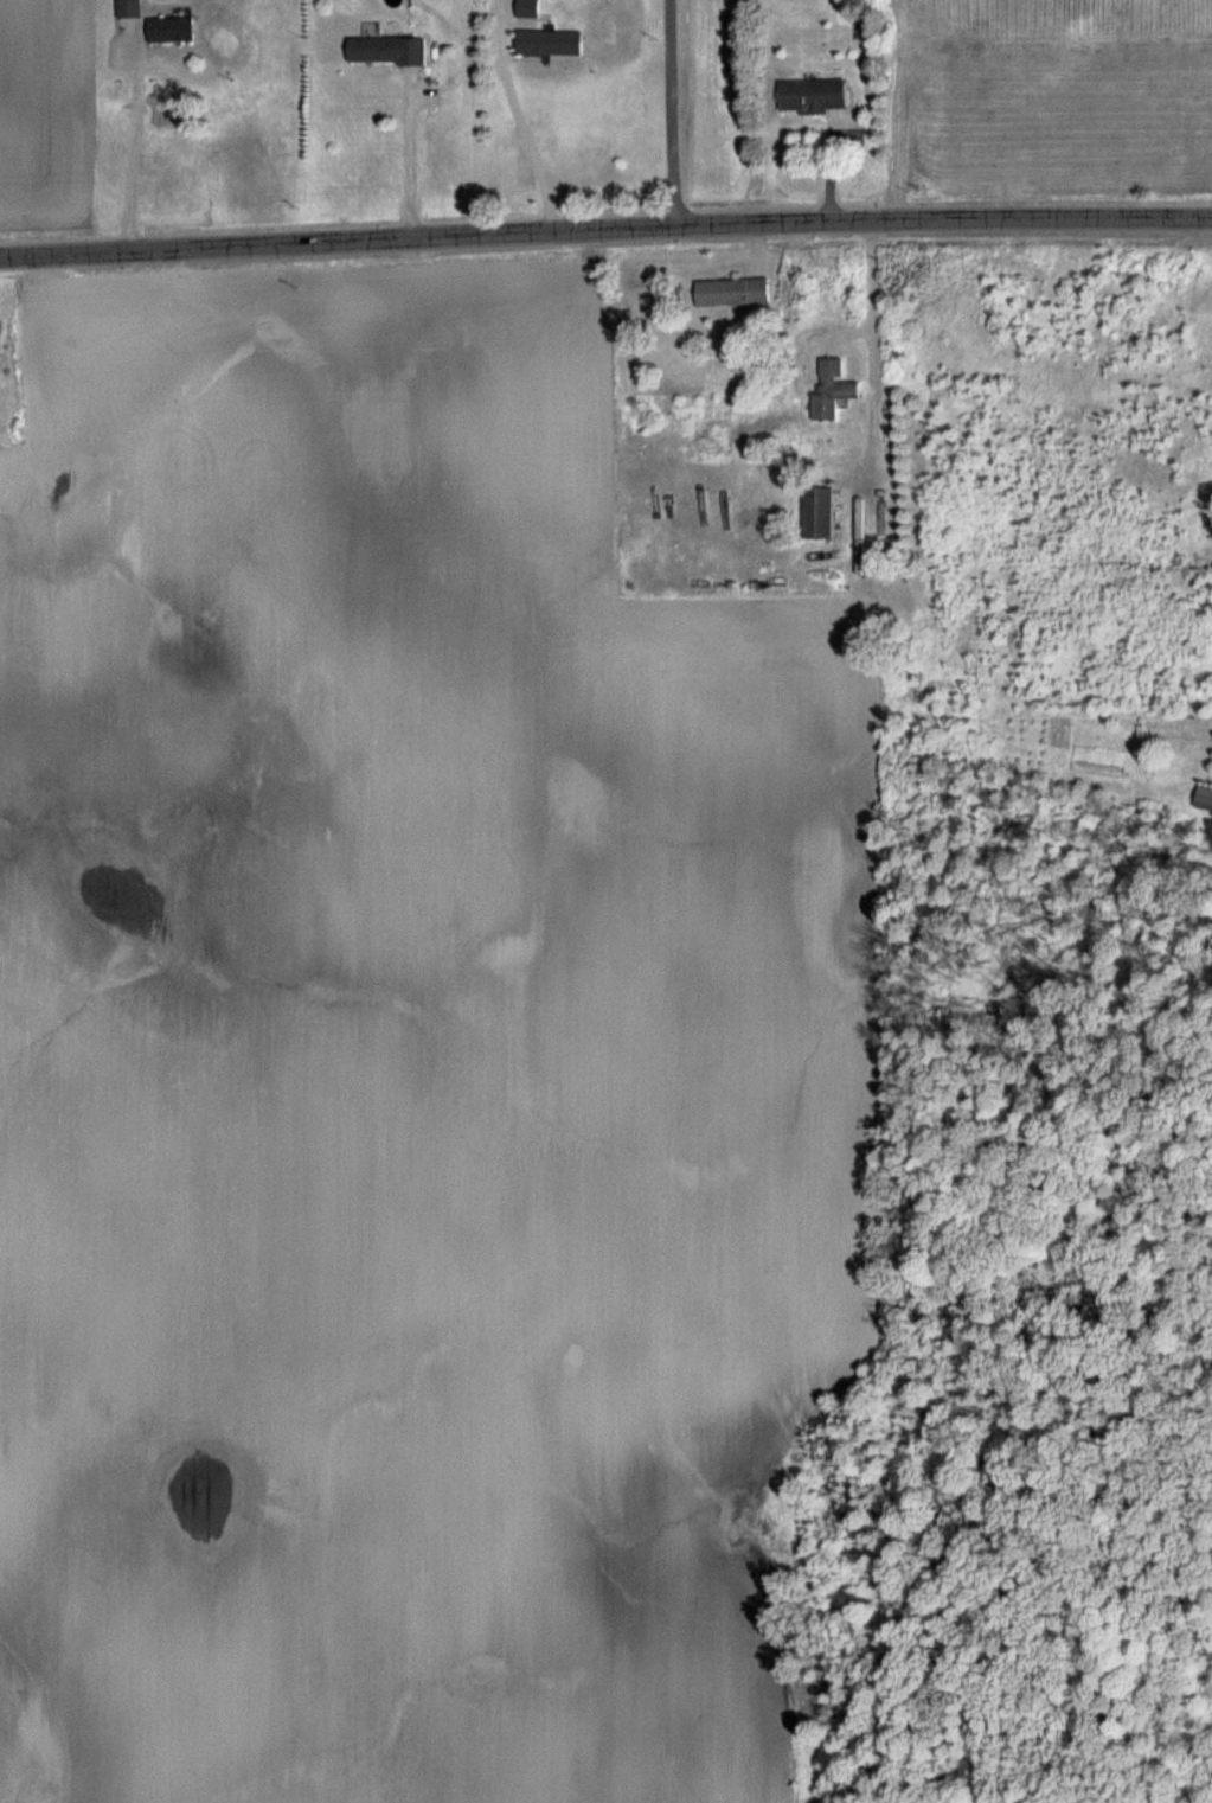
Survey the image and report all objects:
building: (528, 8)
building: (129, 9)
building: (171, 31)
building: (550, 43)
building: (386, 51)
building: (813, 96)
road: (675, 113)
road: (527, 134)
road: (126, 145)
road: (411, 160)
road: (605, 229)
building: (733, 293)
road: (876, 293)
building: (833, 391)
building: (819, 514)
building: (1205, 799)

